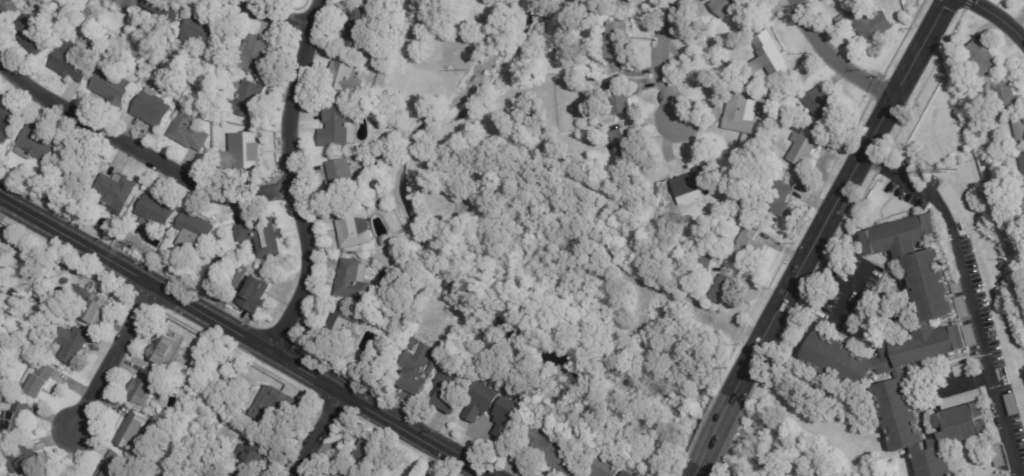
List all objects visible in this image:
building: (365, 1)
building: (615, 1)
building: (381, 2)
building: (126, 5)
building: (726, 6)
building: (9, 8)
building: (168, 10)
building: (88, 15)
road: (265, 19)
building: (866, 20)
road: (994, 23)
building: (352, 26)
building: (201, 31)
building: (31, 36)
building: (620, 40)
building: (224, 42)
building: (119, 45)
building: (772, 54)
building: (255, 56)
building: (982, 58)
road: (836, 59)
building: (71, 62)
road: (661, 62)
building: (155, 64)
building: (340, 74)
building: (191, 83)
building: (965, 84)
building: (112, 88)
building: (369, 93)
building: (1008, 95)
building: (247, 100)
building: (623, 103)
building: (823, 104)
building: (741, 106)
building: (152, 109)
building: (1020, 125)
building: (7, 126)
building: (333, 127)
building: (189, 133)
building: (980, 135)
building: (805, 144)
building: (38, 146)
building: (630, 148)
building: (363, 150)
road: (138, 152)
building: (767, 152)
building: (1022, 153)
building: (242, 154)
building: (989, 161)
power tower: (949, 173)
building: (64, 177)
road: (290, 178)
building: (341, 181)
building: (697, 184)
building: (115, 192)
building: (1022, 192)
road: (845, 195)
building: (778, 198)
building: (745, 200)
building: (54, 201)
building: (156, 213)
building: (82, 215)
building: (354, 228)
building: (194, 232)
building: (0, 236)
building: (260, 239)
building: (749, 244)
building: (130, 245)
building: (0, 247)
building: (225, 263)
building: (706, 265)
building: (178, 268)
building: (1, 271)
building: (353, 281)
road: (845, 281)
building: (724, 289)
building: (11, 290)
park: (591, 291)
building: (246, 292)
building: (40, 295)
road: (968, 299)
building: (87, 305)
building: (406, 325)
building: (342, 328)
road: (241, 337)
building: (426, 339)
building: (71, 344)
building: (166, 350)
building: (909, 352)
road: (108, 354)
building: (418, 370)
building: (37, 380)
road: (959, 382)
building: (143, 387)
building: (188, 392)
building: (451, 392)
building: (223, 393)
building: (483, 402)
building: (277, 407)
building: (512, 412)
building: (11, 414)
road: (713, 429)
building: (131, 430)
road: (322, 436)
park: (793, 448)
building: (546, 452)
building: (254, 456)
building: (364, 456)
building: (26, 461)
building: (114, 465)
building: (608, 467)
road: (692, 473)
building: (54, 474)
building: (632, 474)
building: (340, 475)

